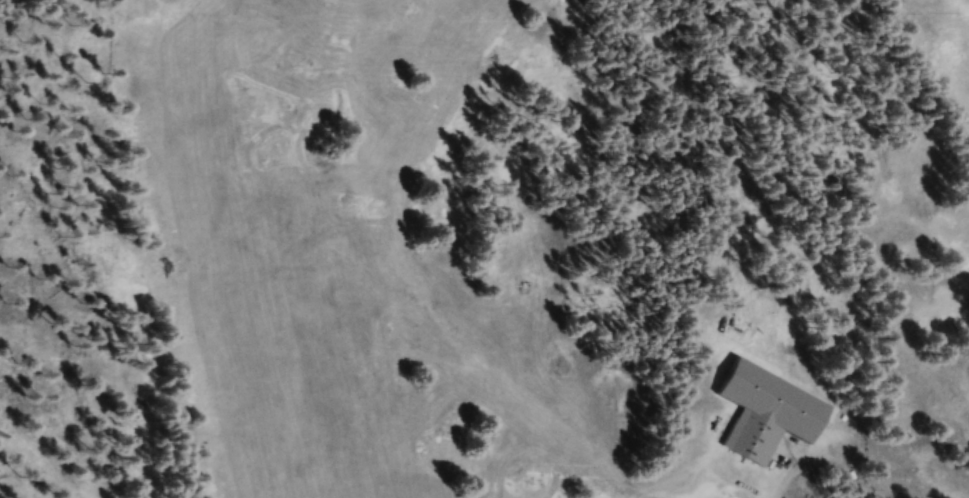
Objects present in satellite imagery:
building: (765, 415)

